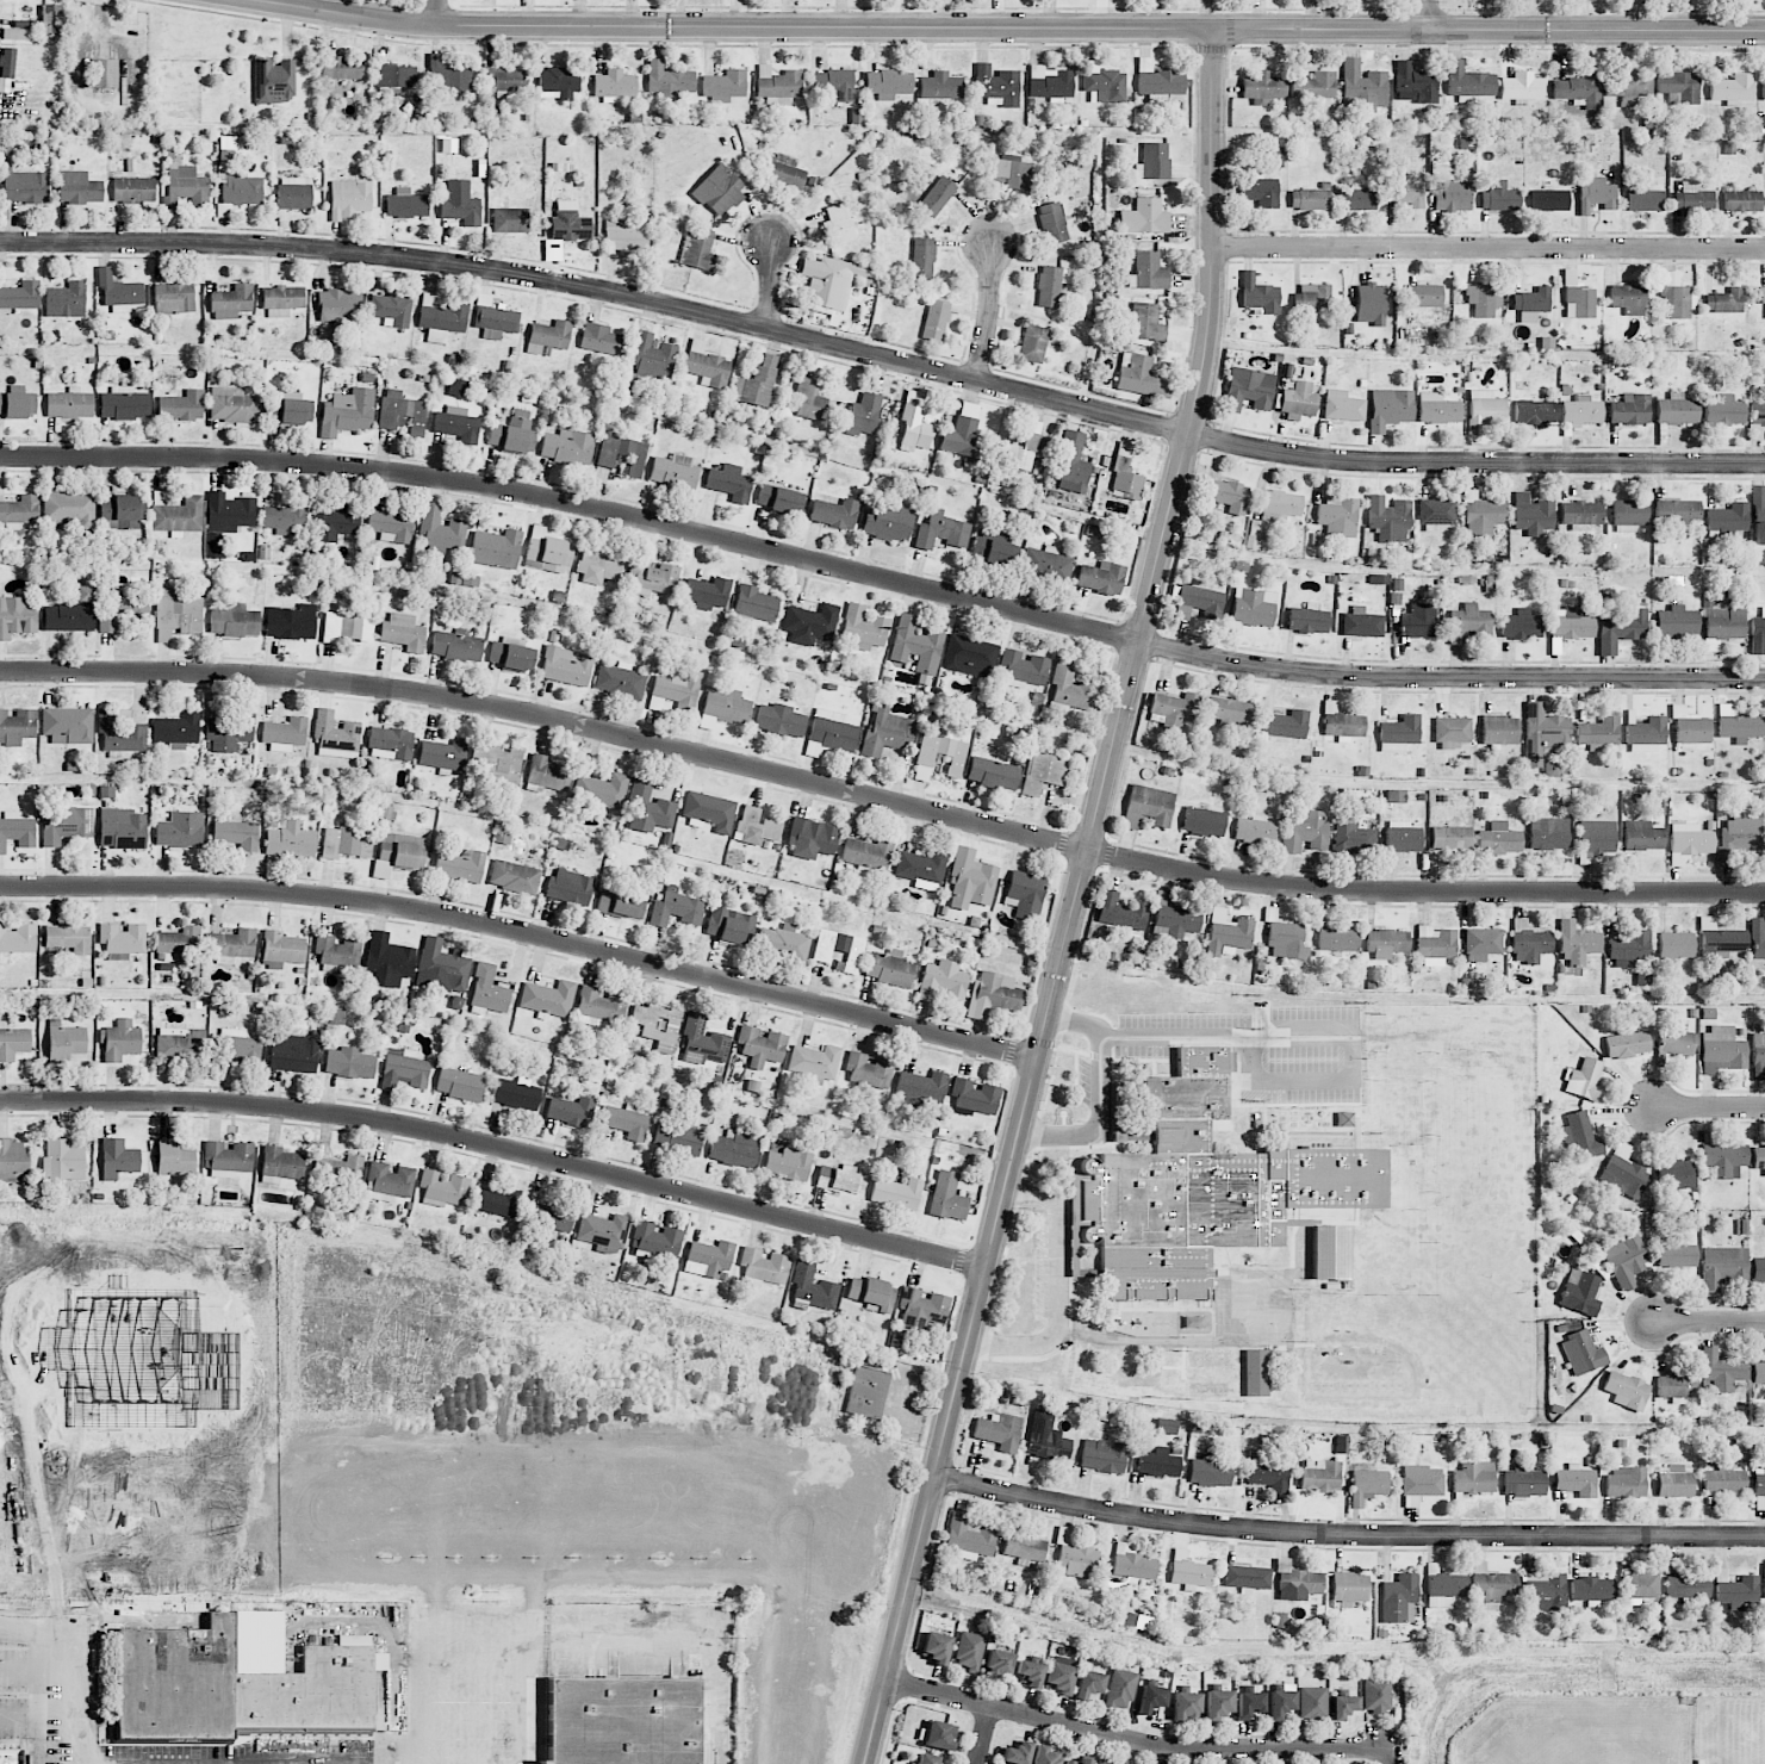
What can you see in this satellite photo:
road: (431, 12)
road: (1429, 14)
building: (51, 18)
road: (734, 26)
road: (1489, 30)
building: (17, 33)
building: (341, 68)
building: (6, 69)
building: (104, 73)
building: (393, 75)
building: (448, 75)
building: (667, 79)
building: (1157, 79)
building: (274, 80)
building: (505, 80)
building: (1416, 81)
building: (1049, 82)
building: (1468, 82)
building: (558, 83)
building: (888, 83)
building: (1678, 83)
building: (725, 85)
building: (777, 85)
building: (996, 85)
building: (614, 86)
building: (832, 86)
building: (940, 86)
building: (1105, 86)
building: (1263, 86)
building: (1521, 86)
building: (1629, 86)
building: (1362, 87)
building: (1578, 88)
building: (1732, 88)
building: (1763, 89)
building: (1761, 120)
building: (226, 142)
building: (1275, 156)
building: (1154, 162)
building: (1441, 169)
building: (783, 170)
building: (1012, 170)
building: (238, 186)
building: (25, 187)
building: (185, 187)
building: (79, 188)
building: (133, 190)
building: (717, 190)
building: (1260, 191)
building: (294, 192)
building: (1405, 192)
building: (1596, 193)
building: (936, 197)
building: (1452, 197)
building: (1499, 197)
building: (349, 198)
building: (1310, 198)
building: (1692, 198)
building: (1356, 199)
building: (1643, 199)
building: (1548, 200)
building: (1741, 200)
building: (460, 203)
building: (406, 204)
building: (1144, 217)
building: (509, 219)
building: (1051, 223)
building: (838, 224)
building: (568, 228)
building: (626, 235)
road: (1489, 248)
building: (700, 249)
building: (922, 259)
building: (1149, 272)
building: (829, 280)
building: (1051, 285)
road: (767, 288)
building: (118, 291)
building: (1259, 294)
building: (1424, 294)
building: (20, 296)
building: (1761, 296)
building: (173, 297)
building: (1311, 297)
building: (1628, 298)
building: (66, 299)
building: (1481, 299)
building: (282, 300)
building: (1724, 300)
building: (231, 302)
building: (1579, 302)
building: (1678, 302)
building: (1369, 303)
building: (1531, 304)
building: (338, 305)
building: (391, 310)
road: (989, 313)
building: (441, 318)
building: (936, 319)
building: (1145, 322)
building: (548, 336)
building: (599, 338)
building: (1033, 343)
building: (652, 358)
road: (882, 358)
building: (707, 365)
building: (1139, 377)
building: (757, 383)
building: (458, 387)
building: (1248, 389)
building: (1298, 399)
building: (809, 400)
building: (69, 403)
building: (18, 404)
building: (124, 404)
building: (181, 405)
building: (232, 405)
building: (1342, 405)
building: (288, 409)
building: (1388, 409)
building: (1437, 409)
building: (1630, 409)
building: (1484, 410)
building: (1581, 410)
building: (1677, 410)
building: (347, 411)
building: (1723, 411)
building: (402, 412)
building: (1534, 412)
building: (1758, 412)
building: (863, 415)
building: (458, 424)
building: (914, 428)
building: (514, 433)
building: (964, 435)
building: (567, 446)
building: (1026, 448)
building: (622, 454)
building: (1073, 464)
building: (675, 472)
building: (1125, 476)
building: (729, 482)
building: (1226, 495)
building: (781, 499)
building: (1280, 505)
building: (68, 508)
building: (1676, 510)
building: (19, 511)
building: (122, 511)
building: (176, 513)
building: (834, 513)
building: (1435, 513)
building: (1531, 514)
building: (1580, 514)
building: (1481, 515)
building: (1758, 515)
building: (285, 516)
building: (225, 518)
building: (1338, 518)
building: (1388, 518)
building: (1727, 520)
building: (888, 521)
building: (336, 522)
building: (391, 526)
building: (940, 530)
building: (440, 532)
building: (496, 548)
building: (989, 548)
building: (547, 552)
building: (367, 560)
building: (1046, 563)
building: (597, 566)
building: (652, 577)
building: (1101, 577)
road: (881, 578)
building: (707, 592)
building: (86, 594)
building: (1199, 600)
building: (754, 603)
building: (1253, 607)
building: (122, 611)
building: (176, 614)
building: (17, 616)
building: (68, 616)
building: (1307, 619)
building: (234, 621)
building: (1418, 621)
building: (1677, 621)
building: (291, 622)
building: (1723, 622)
building: (810, 623)
building: (1361, 623)
building: (1468, 623)
building: (1521, 625)
building: (1568, 626)
building: (347, 627)
building: (863, 627)
building: (1621, 628)
building: (403, 632)
building: (1758, 633)
building: (915, 645)
building: (456, 646)
building: (512, 656)
building: (969, 657)
building: (566, 666)
building: (1021, 669)
building: (620, 681)
building: (676, 690)
building: (1069, 690)
building: (727, 706)
building: (1173, 709)
building: (1229, 709)
building: (779, 720)
building: (1286, 723)
building: (17, 725)
building: (68, 725)
building: (1341, 725)
building: (1689, 727)
building: (1499, 729)
building: (120, 731)
building: (176, 731)
building: (887, 731)
building: (228, 732)
building: (1452, 732)
building: (284, 733)
building: (829, 733)
building: (1399, 733)
building: (1545, 733)
building: (1598, 733)
building: (1646, 734)
building: (335, 735)
building: (390, 744)
building: (443, 753)
building: (939, 753)
building: (993, 772)
building: (1043, 772)
building: (547, 775)
building: (1396, 795)
road: (881, 801)
building: (1148, 806)
building: (648, 808)
building: (709, 810)
building: (1204, 821)
building: (67, 825)
building: (756, 826)
building: (122, 828)
building: (180, 830)
building: (1254, 830)
building: (17, 831)
building: (236, 833)
building: (502, 833)
building: (1305, 833)
building: (1548, 833)
building: (1738, 834)
building: (1642, 836)
building: (1348, 837)
building: (1402, 837)
building: (1596, 837)
building: (812, 838)
building: (1450, 838)
building: (1499, 839)
building: (290, 840)
building: (1689, 841)
building: (346, 843)
building: (866, 855)
building: (399, 856)
building: (459, 865)
building: (921, 869)
building: (514, 876)
building: (970, 881)
building: (570, 887)
building: (1025, 894)
road: (1074, 900)
building: (621, 906)
building: (675, 908)
building: (1124, 914)
building: (1176, 920)
building: (726, 928)
road: (523, 932)
building: (1226, 932)
building: (68, 937)
building: (18, 938)
building: (1757, 938)
building: (1286, 939)
building: (1337, 939)
building: (1720, 939)
building: (122, 940)
building: (783, 942)
building: (1529, 942)
building: (175, 943)
building: (1387, 943)
building: (1481, 944)
building: (1577, 944)
building: (231, 945)
building: (1435, 945)
building: (1674, 946)
building: (1628, 948)
building: (281, 949)
building: (337, 950)
building: (838, 950)
building: (391, 962)
building: (443, 963)
building: (889, 968)
building: (940, 981)
building: (487, 989)
building: (993, 994)
building: (548, 999)
building: (599, 1006)
building: (336, 1014)
building: (658, 1024)
road: (1279, 1037)
building: (1676, 1038)
building: (119, 1039)
building: (13, 1042)
building: (64, 1042)
building: (702, 1042)
building: (1627, 1043)
building: (180, 1044)
building: (238, 1045)
building: (760, 1045)
building: (293, 1054)
building: (1758, 1055)
building: (349, 1062)
building: (815, 1062)
building: (403, 1069)
building: (869, 1070)
building: (1584, 1080)
building: (460, 1083)
building: (920, 1086)
building: (516, 1093)
building: (974, 1097)
road: (1710, 1110)
building: (571, 1111)
building: (1344, 1119)
building: (627, 1122)
road: (1098, 1123)
building: (1580, 1137)
building: (677, 1138)
road: (497, 1147)
building: (734, 1148)
building: (1759, 1157)
building: (118, 1159)
building: (1724, 1159)
building: (62, 1160)
building: (173, 1160)
building: (13, 1161)
building: (788, 1163)
building: (338, 1169)
building: (1623, 1172)
building: (1676, 1174)
building: (840, 1180)
building: (390, 1181)
building: (442, 1188)
building: (1207, 1190)
road: (1038, 1191)
building: (896, 1193)
building: (947, 1197)
building: (1082, 1200)
building: (496, 1201)
building: (547, 1216)
building: (603, 1230)
building: (655, 1238)
building: (1329, 1253)
building: (1676, 1253)
building: (709, 1259)
building: (1624, 1260)
building: (1723, 1266)
building: (763, 1267)
road: (1058, 1269)
building: (1758, 1269)
building: (812, 1288)
building: (1579, 1292)
building: (871, 1293)
building: (921, 1308)
road: (1709, 1324)
road: (1017, 1346)
building: (1581, 1353)
building: (1721, 1369)
building: (1255, 1372)
building: (1758, 1372)
building: (1676, 1386)
building: (1627, 1390)
building: (866, 1391)
building: (999, 1430)
building: (1048, 1445)
building: (1102, 1455)
building: (1158, 1462)
building: (1208, 1471)
building: (1267, 1473)
building: (1320, 1476)
building: (1474, 1477)
building: (1724, 1479)
building: (1422, 1480)
building: (1523, 1480)
building: (1576, 1480)
building: (1674, 1480)
building: (1626, 1482)
building: (1367, 1485)
building: (1759, 1489)
road: (1347, 1534)
building: (969, 1538)
building: (1024, 1547)
building: (1075, 1558)
building: (1132, 1564)
building: (1188, 1571)
building: (1247, 1577)
building: (1764, 1580)
building: (1297, 1582)
building: (1688, 1585)
building: (1443, 1586)
building: (1491, 1586)
building: (1640, 1586)
building: (1349, 1589)
building: (1591, 1590)
building: (1735, 1591)
building: (1545, 1594)
building: (1399, 1598)
building: (354, 1640)
building: (936, 1647)
building: (968, 1651)
building: (998, 1664)
building: (1028, 1672)
road: (48, 1676)
building: (1059, 1677)
building: (175, 1682)
road: (470, 1683)
building: (1088, 1684)
building: (1120, 1689)
building: (309, 1694)
building: (1375, 1695)
building: (1151, 1697)
building: (1312, 1702)
building: (1217, 1703)
building: (1249, 1703)
building: (1280, 1703)
building: (1186, 1704)
building: (1342, 1706)
road: (468, 1719)
building: (622, 1720)
road: (518, 1722)
road: (417, 1732)
road: (983, 1735)
road: (1135, 1741)
building: (1017, 1753)
building: (1045, 1756)
building: (11, 1757)
road: (1392, 1757)
building: (927, 1759)
building: (1085, 1759)
building: (1105, 1762)

